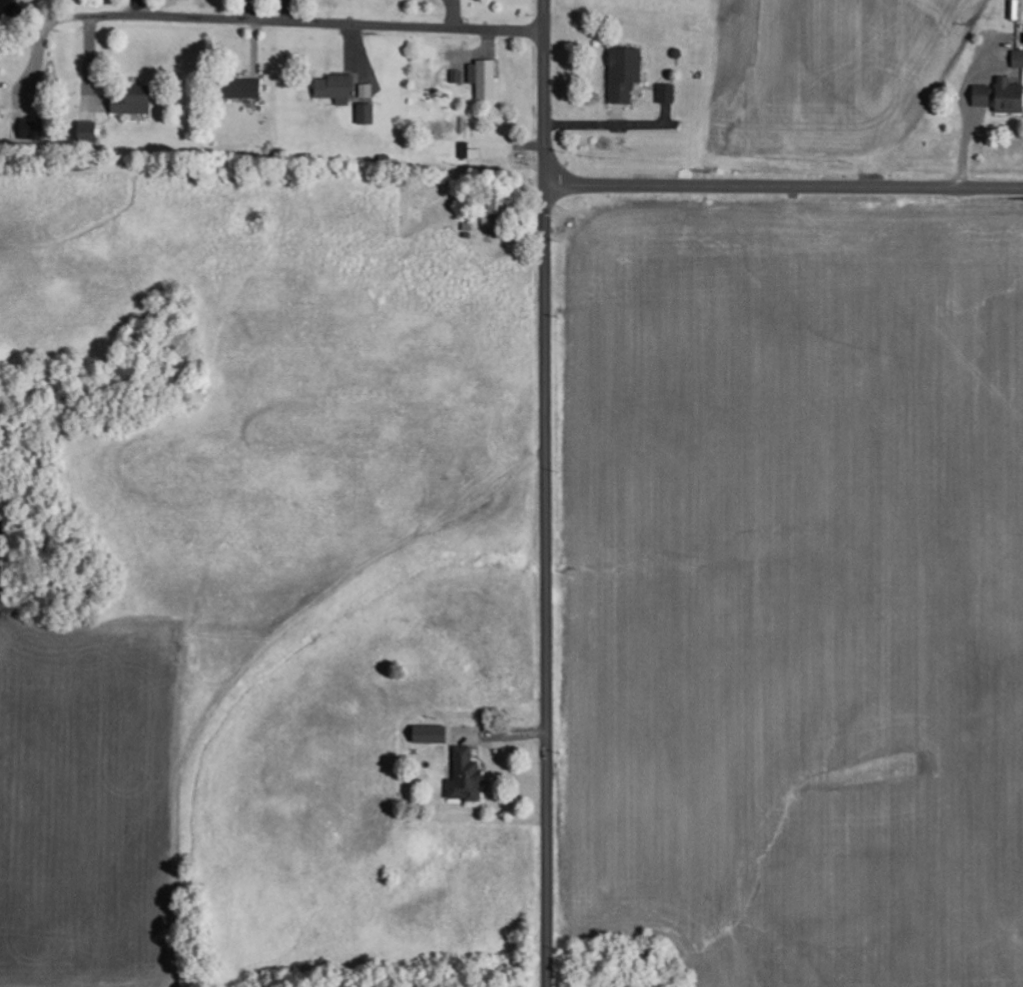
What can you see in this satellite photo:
road: (301, 21)
building: (1018, 59)
building: (626, 75)
building: (484, 79)
building: (245, 89)
building: (338, 89)
building: (367, 92)
road: (545, 92)
building: (668, 94)
building: (1000, 96)
building: (135, 103)
building: (367, 114)
building: (33, 129)
building: (89, 132)
building: (469, 152)
road: (784, 187)
road: (545, 586)
building: (432, 734)
building: (467, 777)

